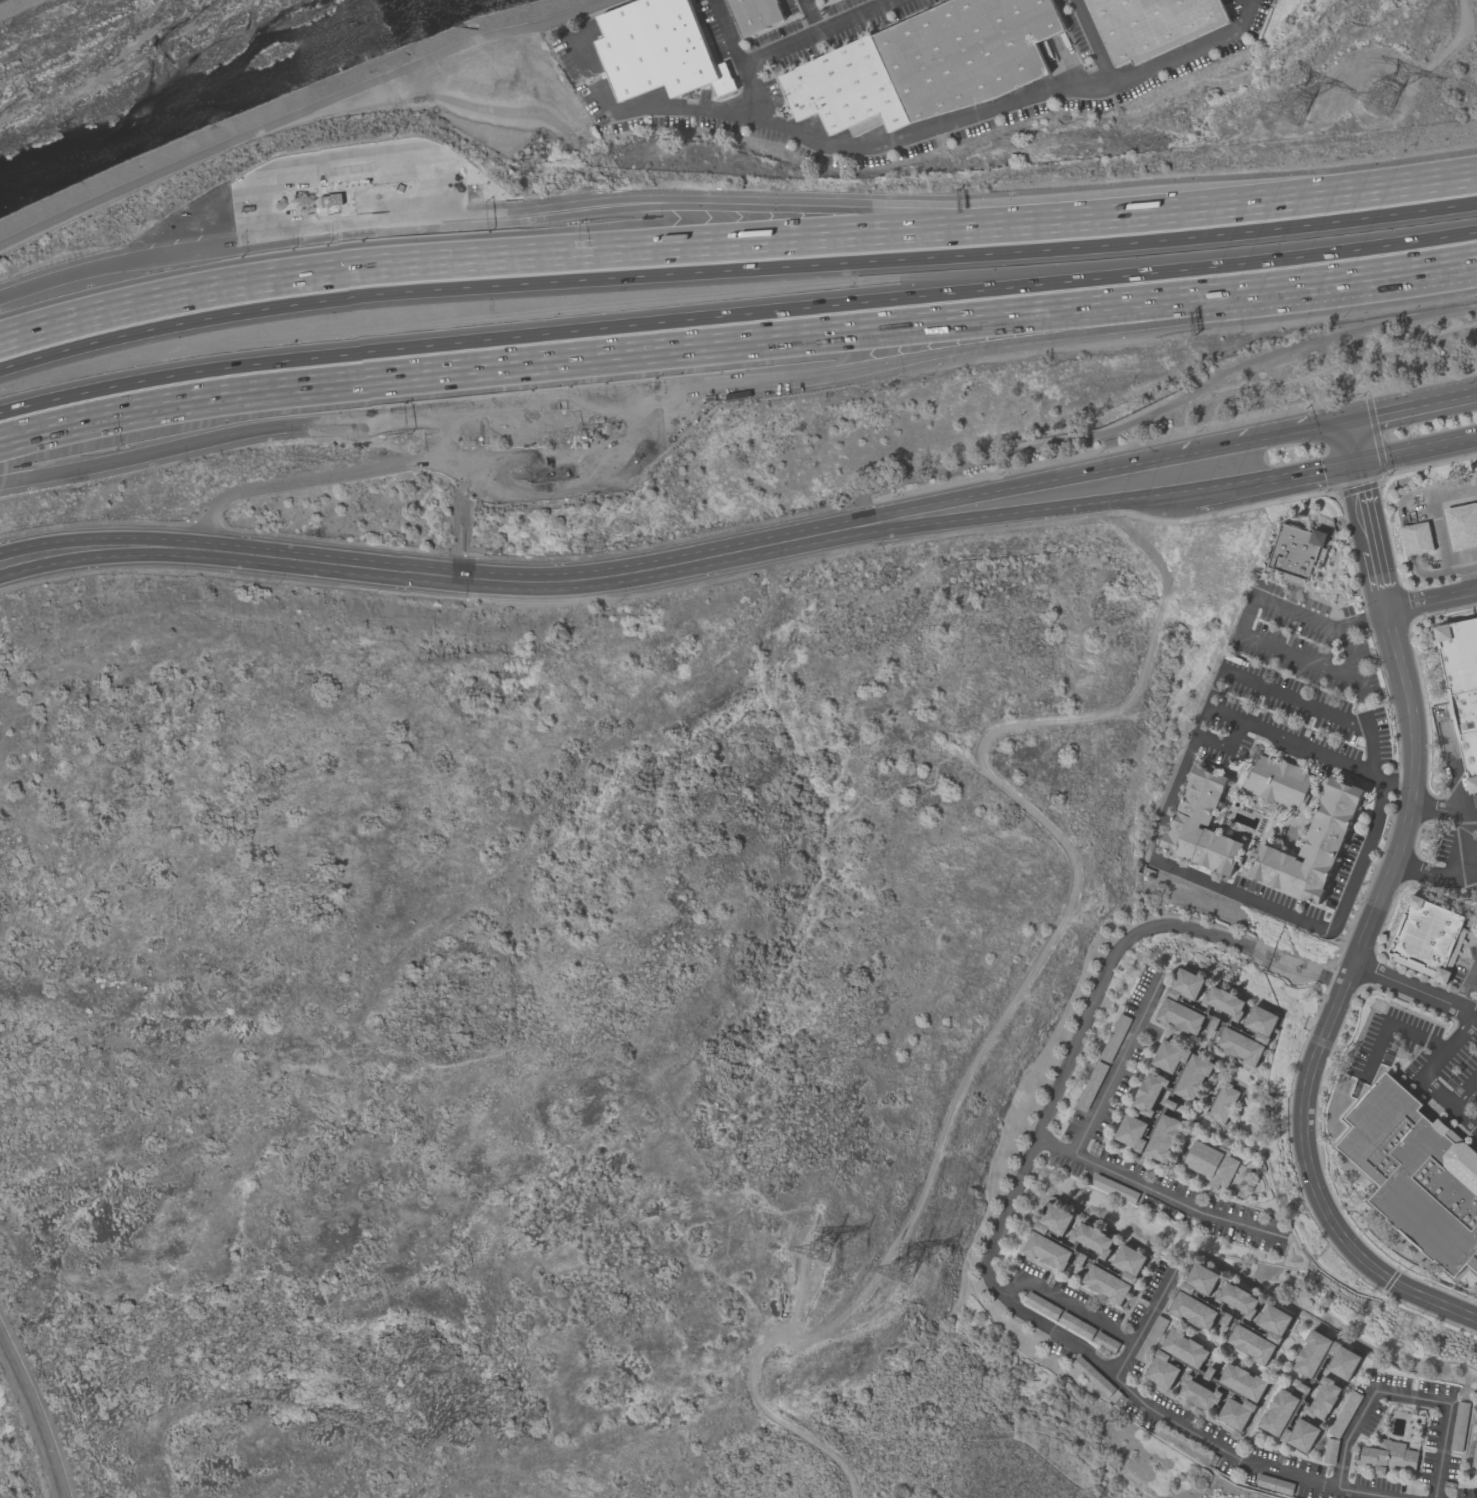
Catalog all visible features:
building: (756, 14)
road: (810, 17)
building: (1154, 25)
road: (818, 33)
road: (1096, 43)
building: (658, 50)
building: (967, 53)
road: (739, 61)
river: (175, 79)
building: (846, 89)
power tower: (1391, 90)
power tower: (1301, 104)
road: (303, 111)
road: (905, 138)
road: (339, 162)
road: (1366, 195)
road: (769, 214)
road: (624, 258)
road: (140, 259)
road: (734, 269)
road: (1407, 269)
road: (737, 314)
road: (1034, 333)
road: (667, 348)
road: (577, 399)
road: (1411, 407)
road: (1294, 431)
road: (211, 437)
road: (1349, 441)
road: (1415, 448)
traffic signals: (1353, 460)
road: (1302, 471)
road: (311, 479)
road: (1220, 488)
road: (557, 493)
road: (979, 496)
road: (952, 522)
road: (1439, 522)
building: (1462, 525)
road: (108, 535)
building: (1418, 539)
building: (1294, 553)
road: (107, 557)
road: (1475, 564)
road: (1475, 571)
road: (467, 577)
road: (1431, 601)
road: (1244, 630)
building: (1461, 691)
road: (1299, 701)
road: (1227, 745)
road: (1398, 783)
building: (1276, 784)
road: (1443, 812)
building: (1203, 826)
building: (1315, 847)
road: (1433, 879)
road: (1366, 929)
road: (1326, 931)
building: (1430, 937)
road: (1026, 983)
building: (1186, 985)
road: (1468, 989)
road: (1413, 991)
building: (1225, 1002)
building: (1180, 1016)
park: (557, 1020)
building: (1263, 1023)
road: (1392, 1025)
building: (1241, 1046)
building: (1170, 1055)
road: (1119, 1064)
road: (1064, 1073)
road: (1427, 1074)
building: (1194, 1077)
road: (1463, 1086)
building: (1150, 1093)
building: (1222, 1103)
building: (1133, 1132)
building: (1163, 1138)
building: (1211, 1164)
building: (1417, 1176)
road: (1157, 1192)
building: (1131, 1196)
building: (1056, 1219)
building: (1094, 1239)
power tower: (838, 1249)
building: (1049, 1250)
building: (1130, 1262)
power tower: (915, 1271)
building: (1202, 1280)
building: (1107, 1284)
building: (1240, 1299)
road: (1066, 1303)
building: (1194, 1310)
building: (1276, 1322)
building: (1226, 1323)
building: (1152, 1339)
building: (1253, 1344)
building: (1185, 1347)
building: (1313, 1353)
building: (1344, 1360)
building: (1163, 1369)
building: (1244, 1381)
building: (1198, 1393)
road: (1406, 1396)
building: (1324, 1399)
building: (1237, 1412)
building: (1280, 1412)
building: (1348, 1413)
road: (34, 1415)
road: (1189, 1426)
building: (1461, 1427)
building: (1302, 1435)
building: (1476, 1437)
building: (1389, 1457)
building: (1475, 1458)
building: (1274, 1486)

